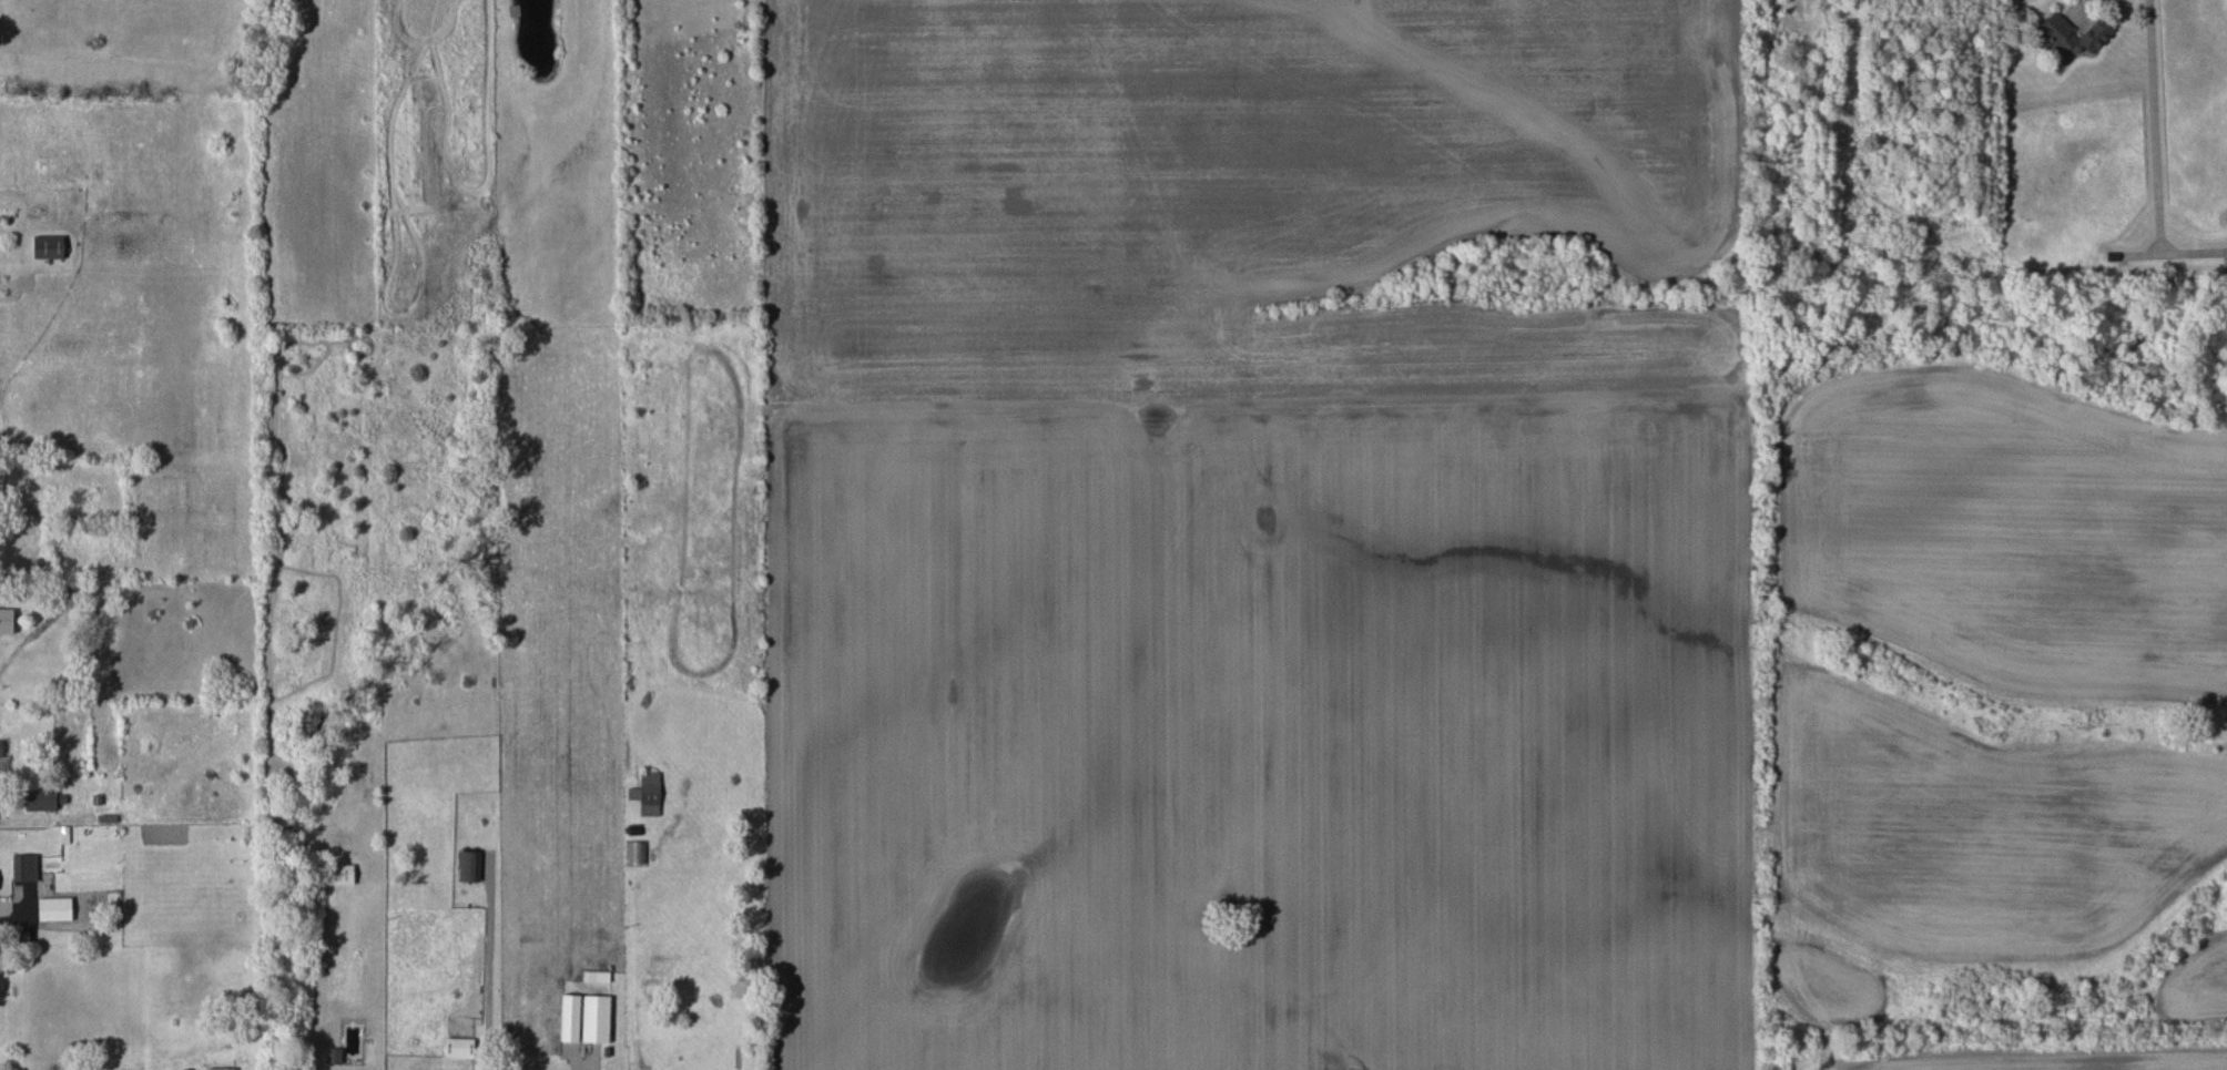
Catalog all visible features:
building: (2070, 34)
road: (2154, 128)
building: (48, 247)
building: (1, 748)
building: (648, 793)
building: (40, 799)
building: (469, 866)
building: (24, 867)
building: (54, 909)
building: (570, 1018)
building: (596, 1018)
building: (459, 1048)
building: (334, 1056)
building: (222, 1069)

